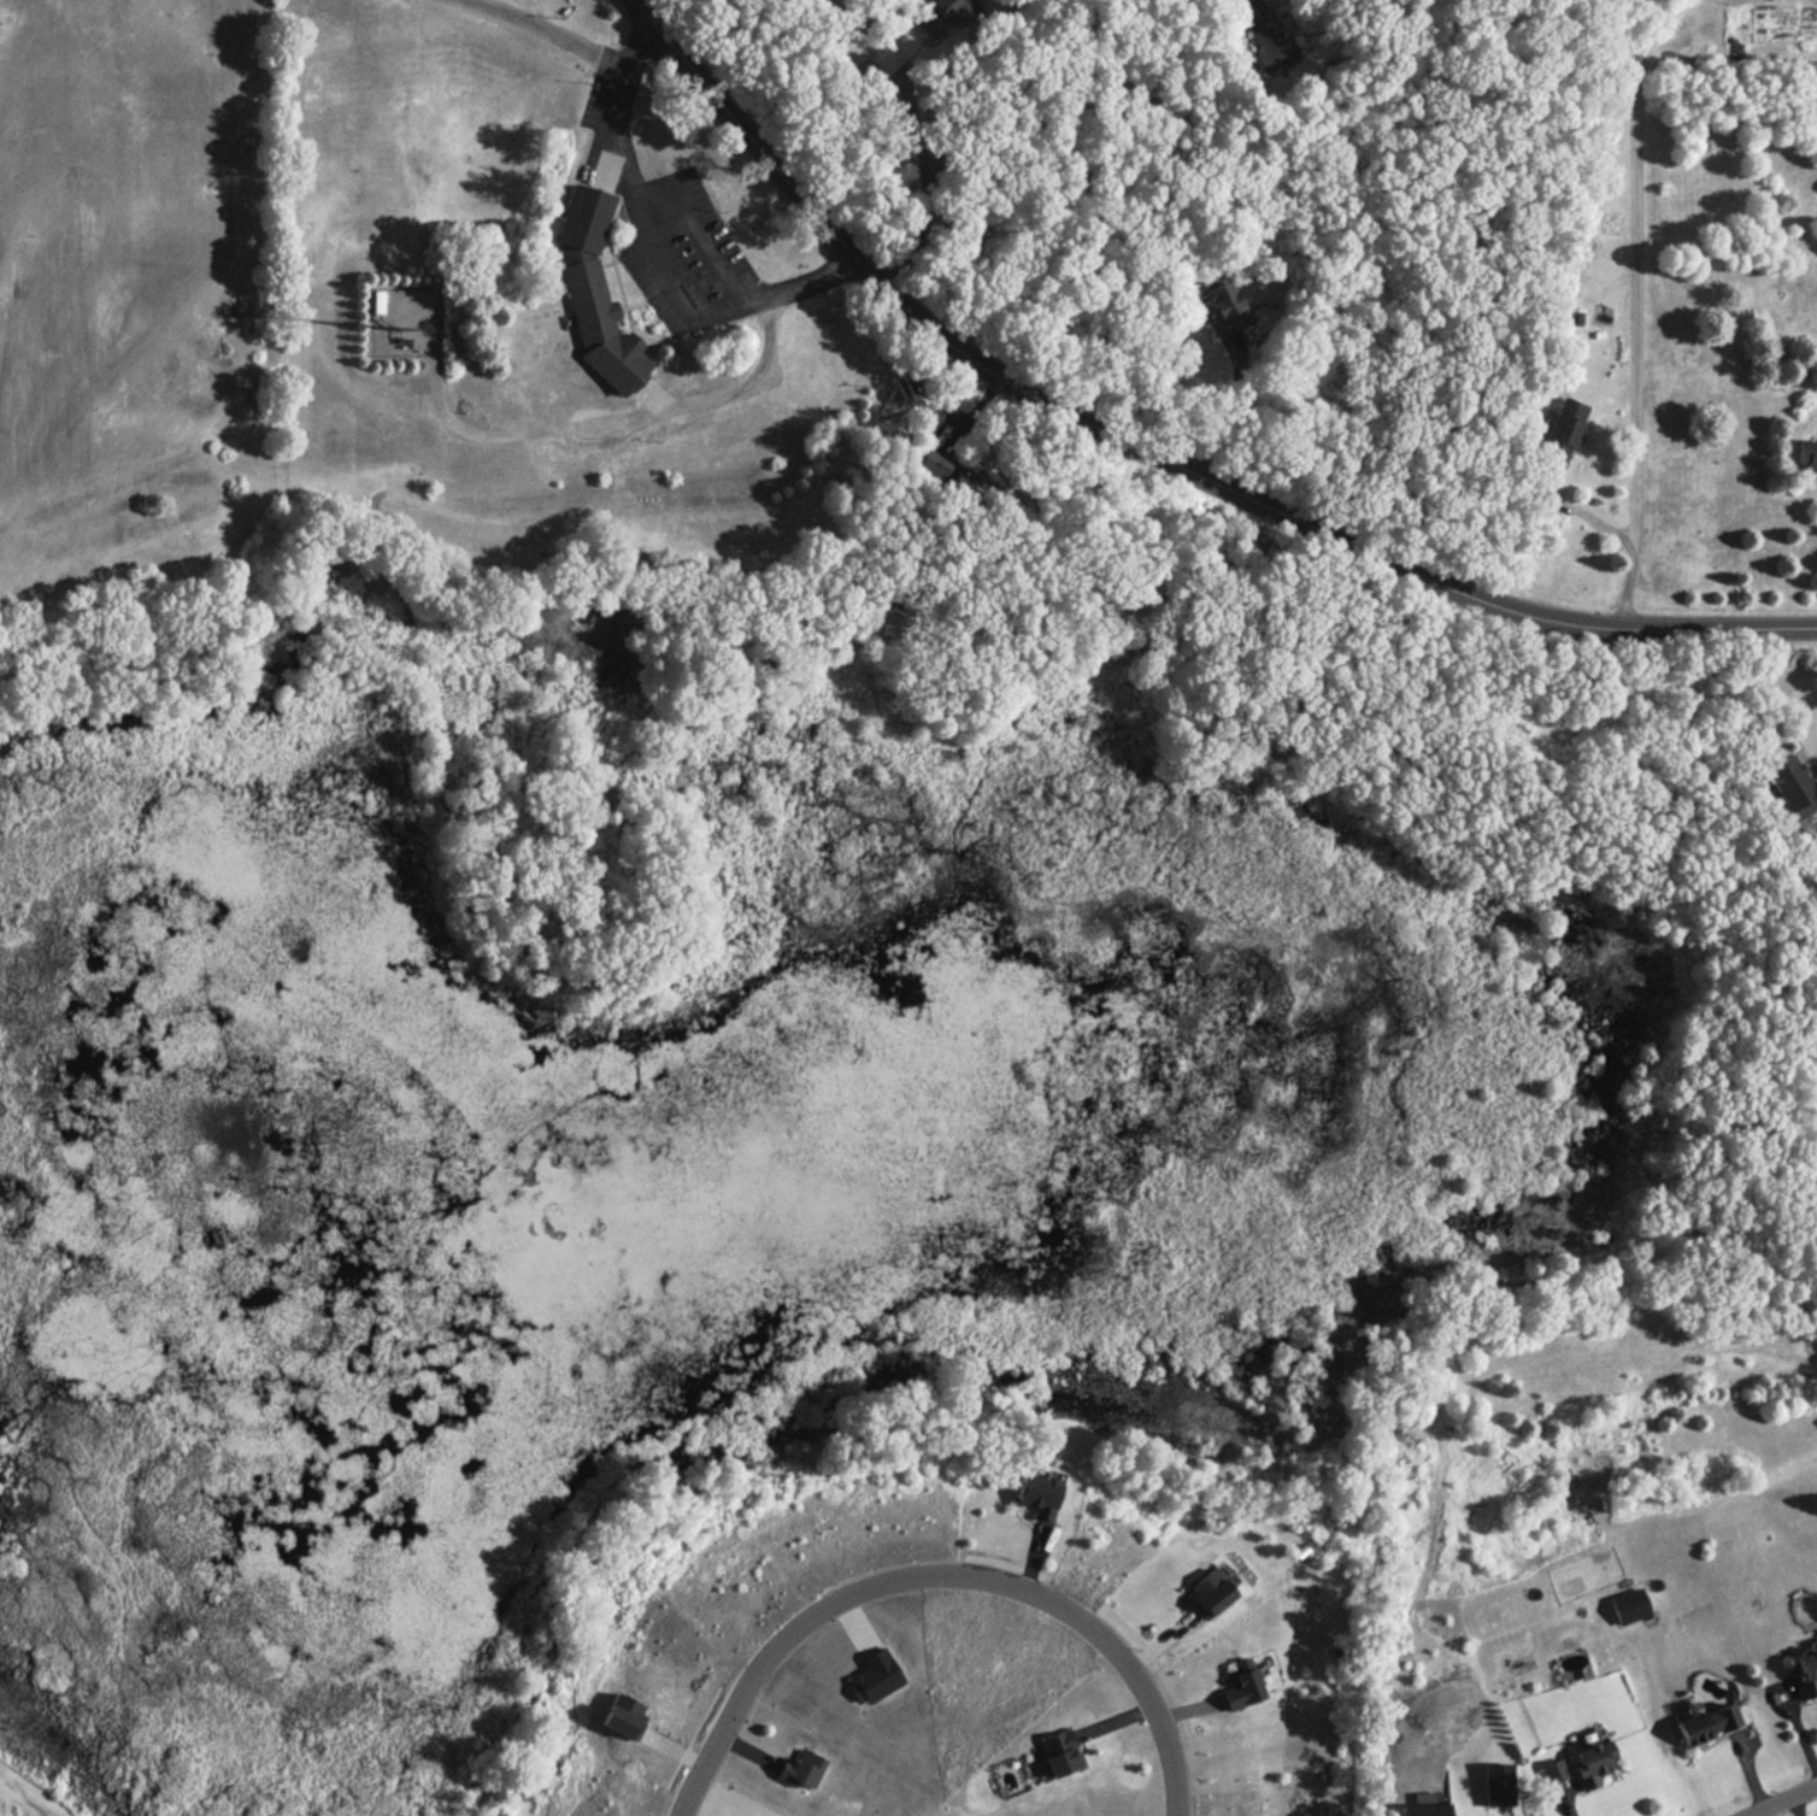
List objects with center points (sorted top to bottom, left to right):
building: (941, 13)
road: (547, 31)
building: (1264, 35)
building: (893, 52)
parking lot: (594, 99)
road: (616, 130)
road: (612, 137)
road: (590, 146)
road: (1062, 146)
road: (927, 178)
road: (655, 194)
building: (583, 219)
road: (707, 247)
parking lot: (688, 255)
road: (608, 263)
road: (615, 276)
road: (872, 280)
road: (664, 282)
park: (284, 283)
road: (775, 292)
building: (586, 295)
building: (377, 301)
road: (630, 304)
road: (1637, 307)
building: (1223, 308)
flagpole: (640, 317)
road: (636, 335)
road: (686, 352)
building: (617, 359)
road: (665, 410)
road: (657, 411)
road: (1229, 415)
road: (612, 424)
building: (1563, 430)
building: (1807, 454)
building: (957, 476)
road: (1581, 512)
road: (1487, 604)
building: (1792, 787)
building: (1040, 1493)
road: (940, 1571)
building: (1207, 1592)
building: (1629, 1605)
building: (1806, 1670)
building: (877, 1676)
building: (1240, 1685)
building: (624, 1716)
building: (1707, 1723)
building: (1060, 1752)
building: (804, 1767)
building: (1552, 1770)
building: (1496, 1783)
road: (1784, 1800)
building: (1425, 1805)
road: (1798, 1806)

